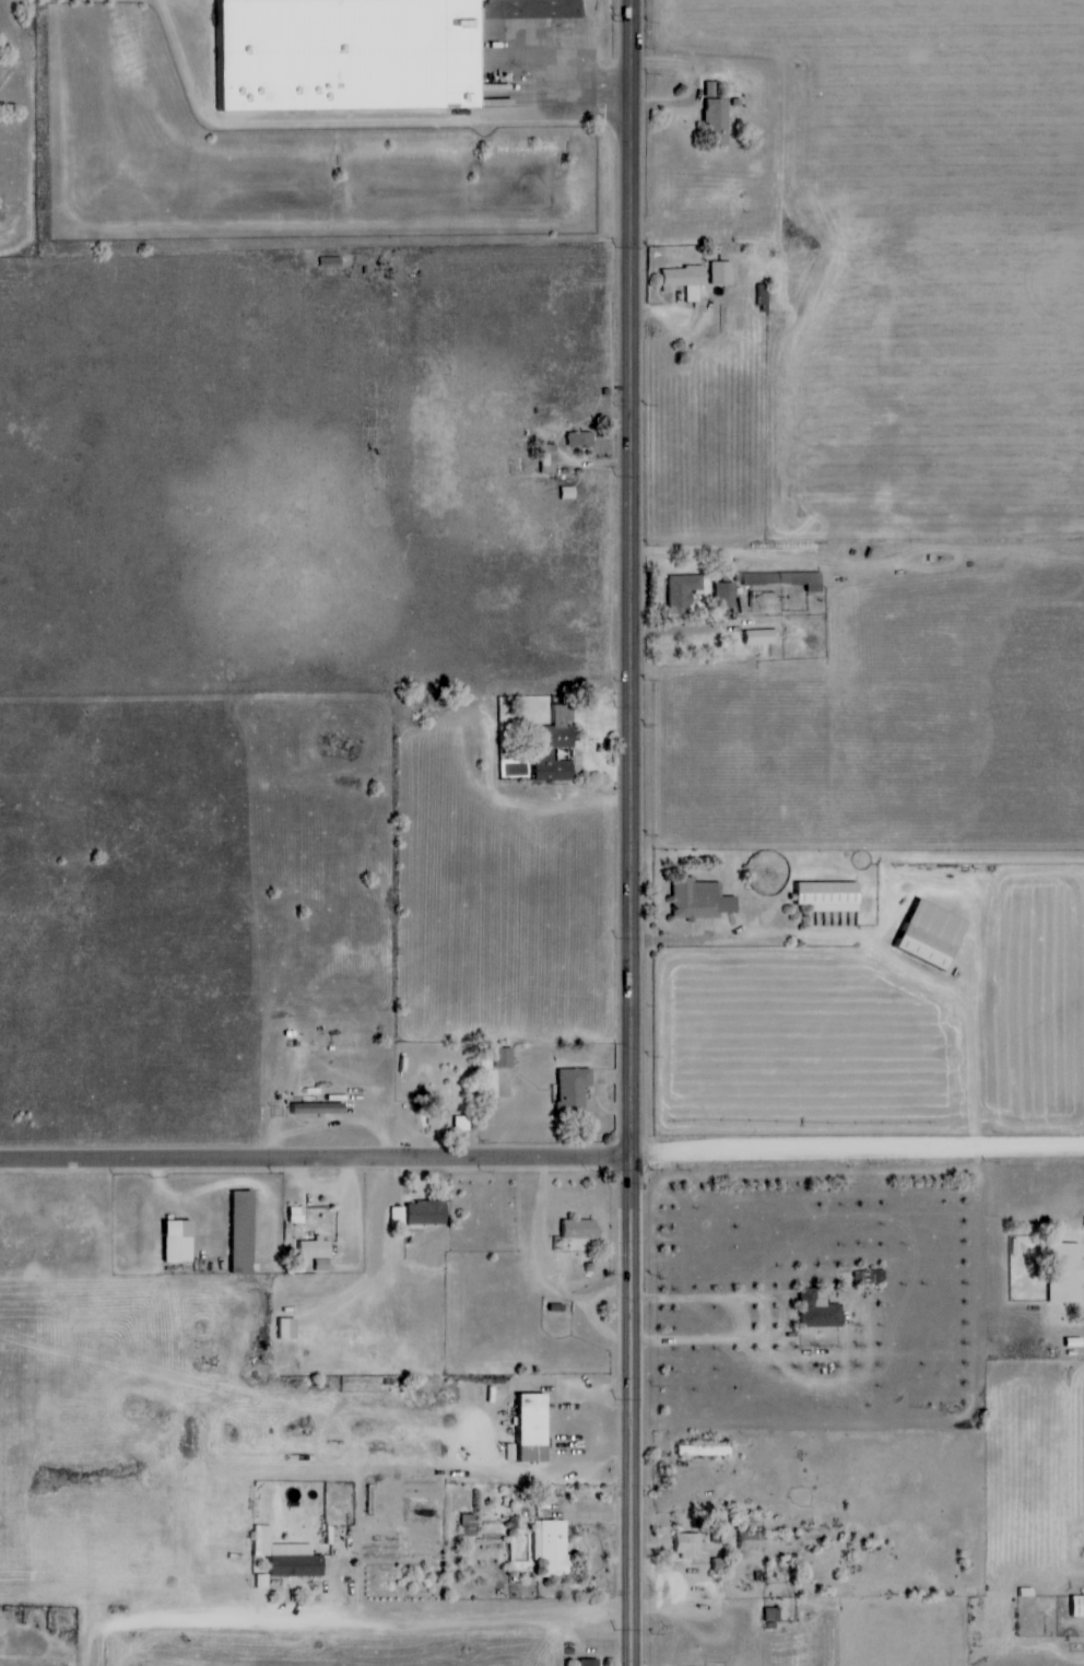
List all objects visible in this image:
parking lot: (549, 5)
building: (352, 54)
building: (712, 122)
building: (717, 273)
building: (680, 281)
building: (759, 298)
building: (576, 439)
building: (545, 459)
road: (632, 578)
building: (782, 579)
building: (679, 590)
building: (716, 595)
building: (726, 595)
building: (754, 637)
power tower: (616, 706)
building: (547, 753)
building: (822, 896)
building: (696, 900)
building: (923, 935)
power tower: (616, 938)
road: (719, 945)
building: (507, 1057)
building: (487, 1078)
building: (575, 1090)
building: (315, 1108)
building: (437, 1116)
road: (858, 1154)
road: (316, 1162)
power tower: (615, 1183)
building: (428, 1212)
building: (297, 1215)
building: (580, 1229)
building: (236, 1231)
building: (172, 1241)
building: (317, 1252)
building: (1061, 1274)
building: (821, 1310)
building: (283, 1328)
road: (732, 1342)
power tower: (615, 1399)
road: (632, 1411)
building: (525, 1427)
building: (706, 1450)
building: (470, 1525)
building: (337, 1536)
building: (753, 1540)
building: (691, 1545)
building: (555, 1547)
building: (287, 1554)
building: (720, 1564)
building: (1075, 1605)
building: (773, 1615)
road: (350, 1619)
power tower: (614, 1629)
building: (585, 1662)

